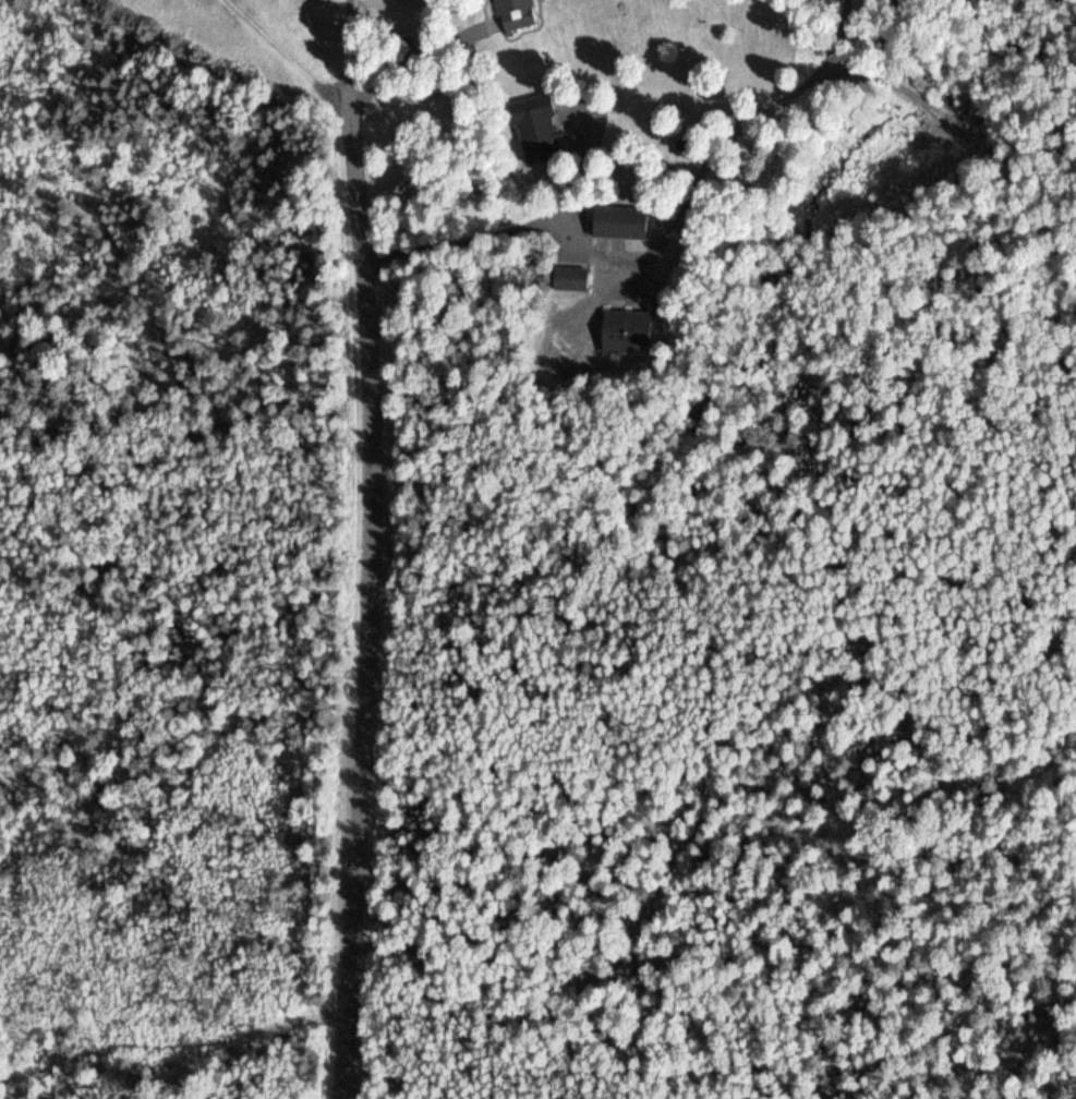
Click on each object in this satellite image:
building: (517, 13)
road: (319, 87)
building: (535, 128)
building: (619, 221)
building: (570, 277)
building: (625, 330)
road: (378, 594)

